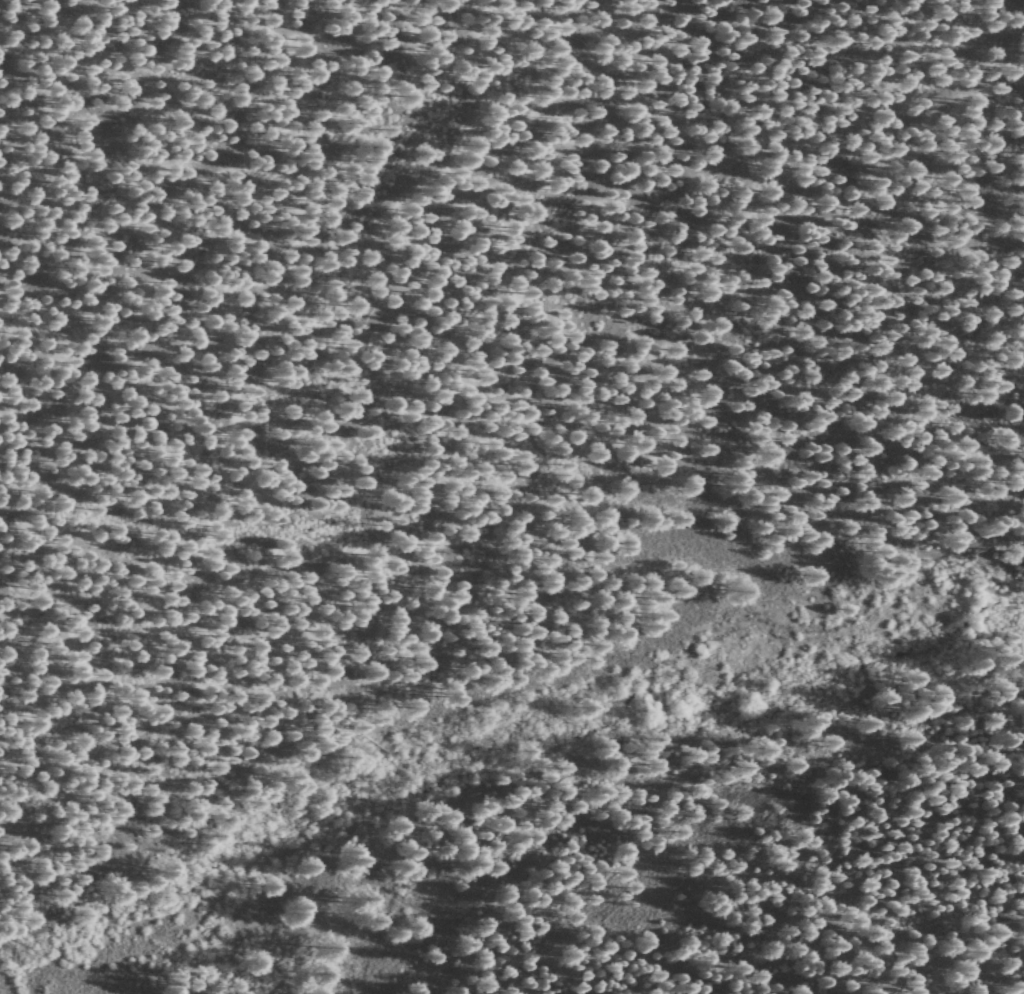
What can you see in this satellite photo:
road: (52, 622)
road: (479, 678)
road: (50, 902)
road: (103, 911)
road: (270, 919)

